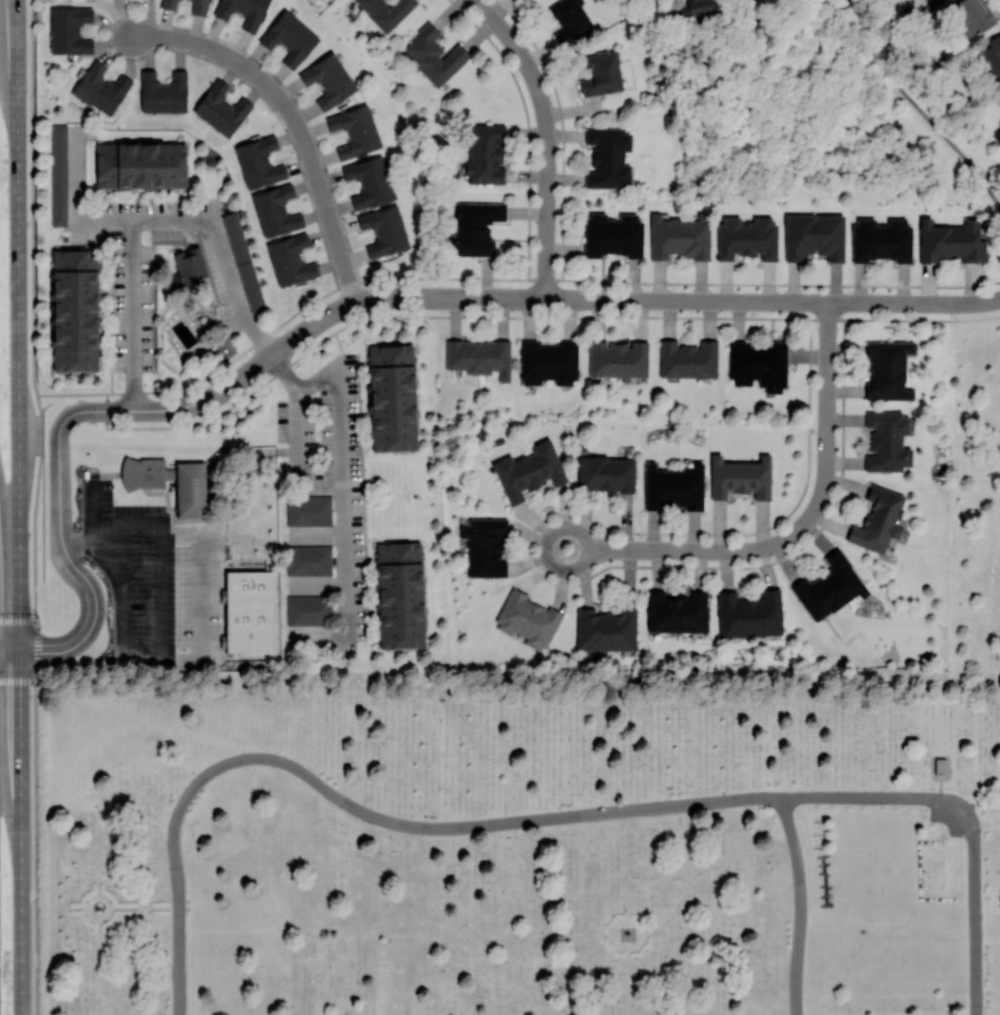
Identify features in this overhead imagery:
building: (169, 4)
building: (199, 7)
building: (695, 10)
building: (243, 11)
building: (386, 11)
building: (973, 16)
building: (570, 21)
building: (69, 30)
building: (289, 38)
building: (433, 55)
building: (990, 58)
building: (602, 74)
building: (328, 80)
building: (101, 88)
building: (163, 92)
building: (221, 109)
road: (297, 118)
building: (355, 131)
road: (549, 137)
building: (485, 153)
building: (608, 157)
building: (259, 162)
building: (140, 165)
building: (59, 175)
building: (369, 181)
road: (33, 198)
building: (276, 211)
building: (475, 227)
building: (384, 231)
building: (613, 235)
building: (680, 237)
building: (814, 237)
building: (746, 238)
building: (881, 240)
building: (951, 241)
building: (290, 260)
building: (243, 261)
building: (189, 264)
road: (227, 269)
road: (503, 277)
road: (358, 301)
building: (74, 310)
road: (130, 315)
road: (19, 326)
building: (479, 356)
building: (618, 358)
building: (688, 359)
building: (548, 362)
building: (758, 365)
building: (887, 370)
building: (392, 398)
building: (887, 441)
building: (529, 471)
building: (143, 473)
building: (606, 474)
building: (740, 477)
road: (341, 483)
building: (673, 487)
building: (190, 489)
road: (35, 508)
building: (309, 511)
building: (878, 520)
road: (799, 533)
building: (485, 546)
building: (310, 560)
building: (830, 587)
building: (400, 595)
building: (309, 610)
building: (250, 611)
building: (677, 612)
building: (750, 614)
building: (527, 620)
road: (18, 621)
building: (606, 630)
road: (164, 647)
traffic signals: (21, 652)
road: (18, 680)
building: (940, 764)
road: (940, 786)
road: (356, 808)
road: (36, 817)
road: (966, 817)
parking lot: (951, 818)
road: (22, 833)
park: (521, 849)
road: (800, 904)

